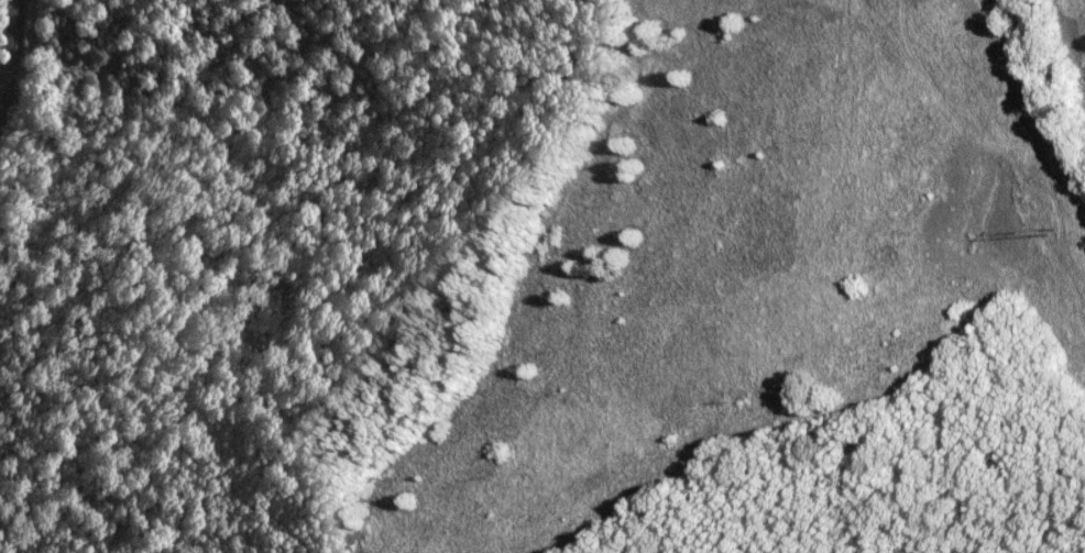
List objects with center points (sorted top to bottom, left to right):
airport: (1031, 87)
power tower: (1048, 233)

